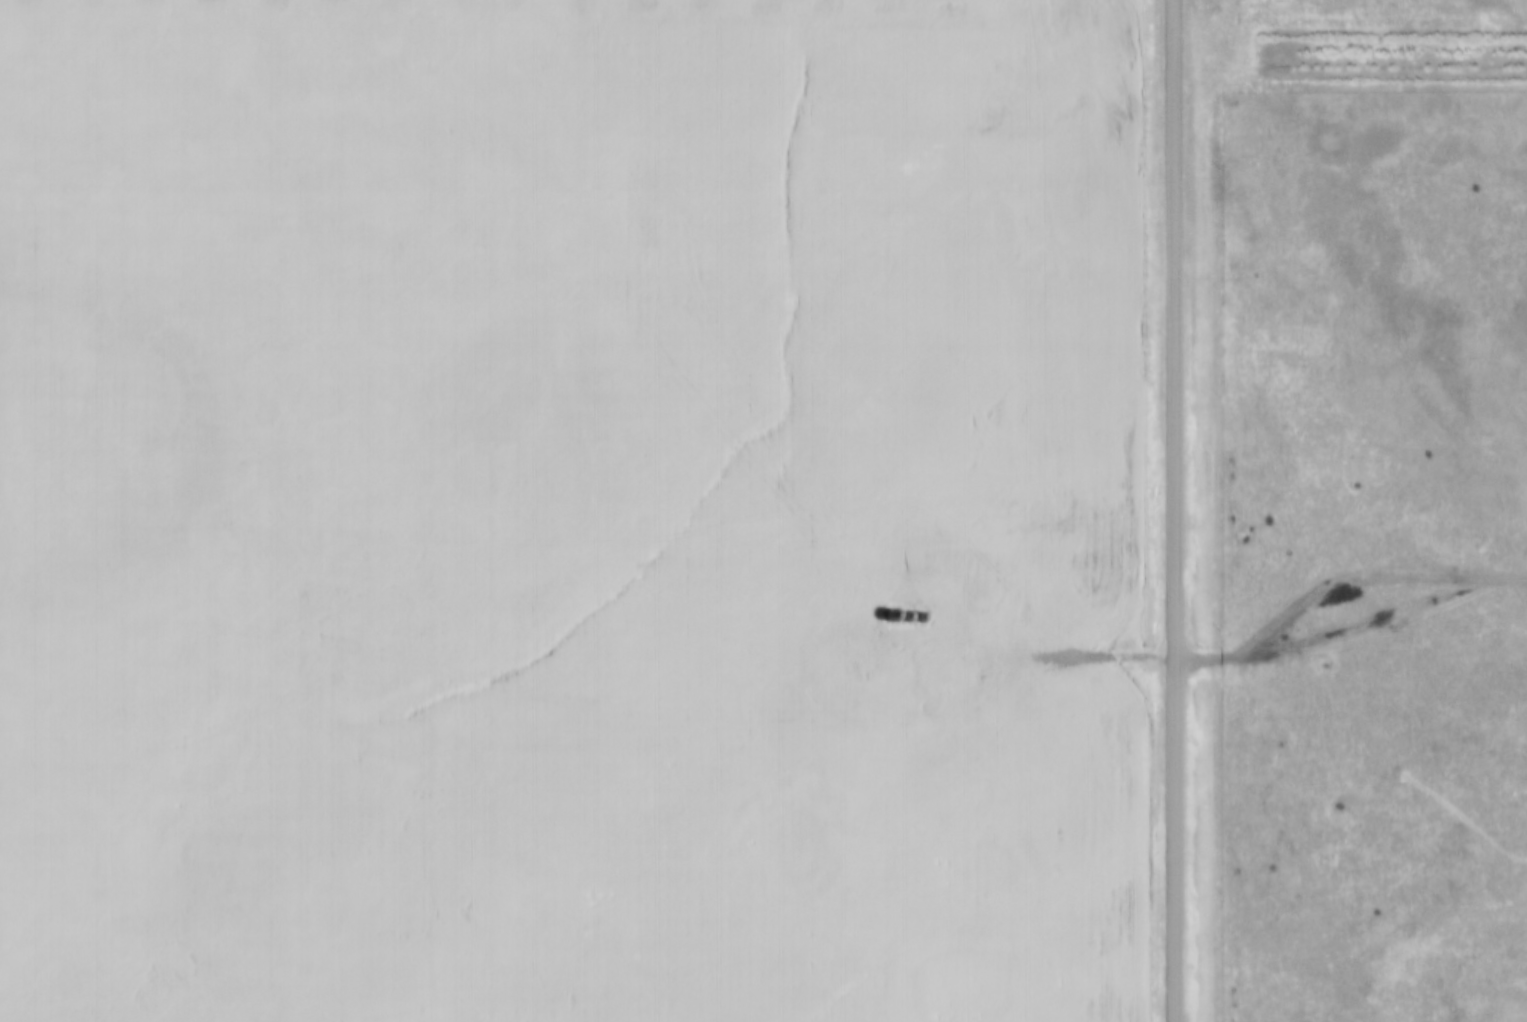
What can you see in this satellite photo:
road: (1179, 510)
road: (1342, 582)

